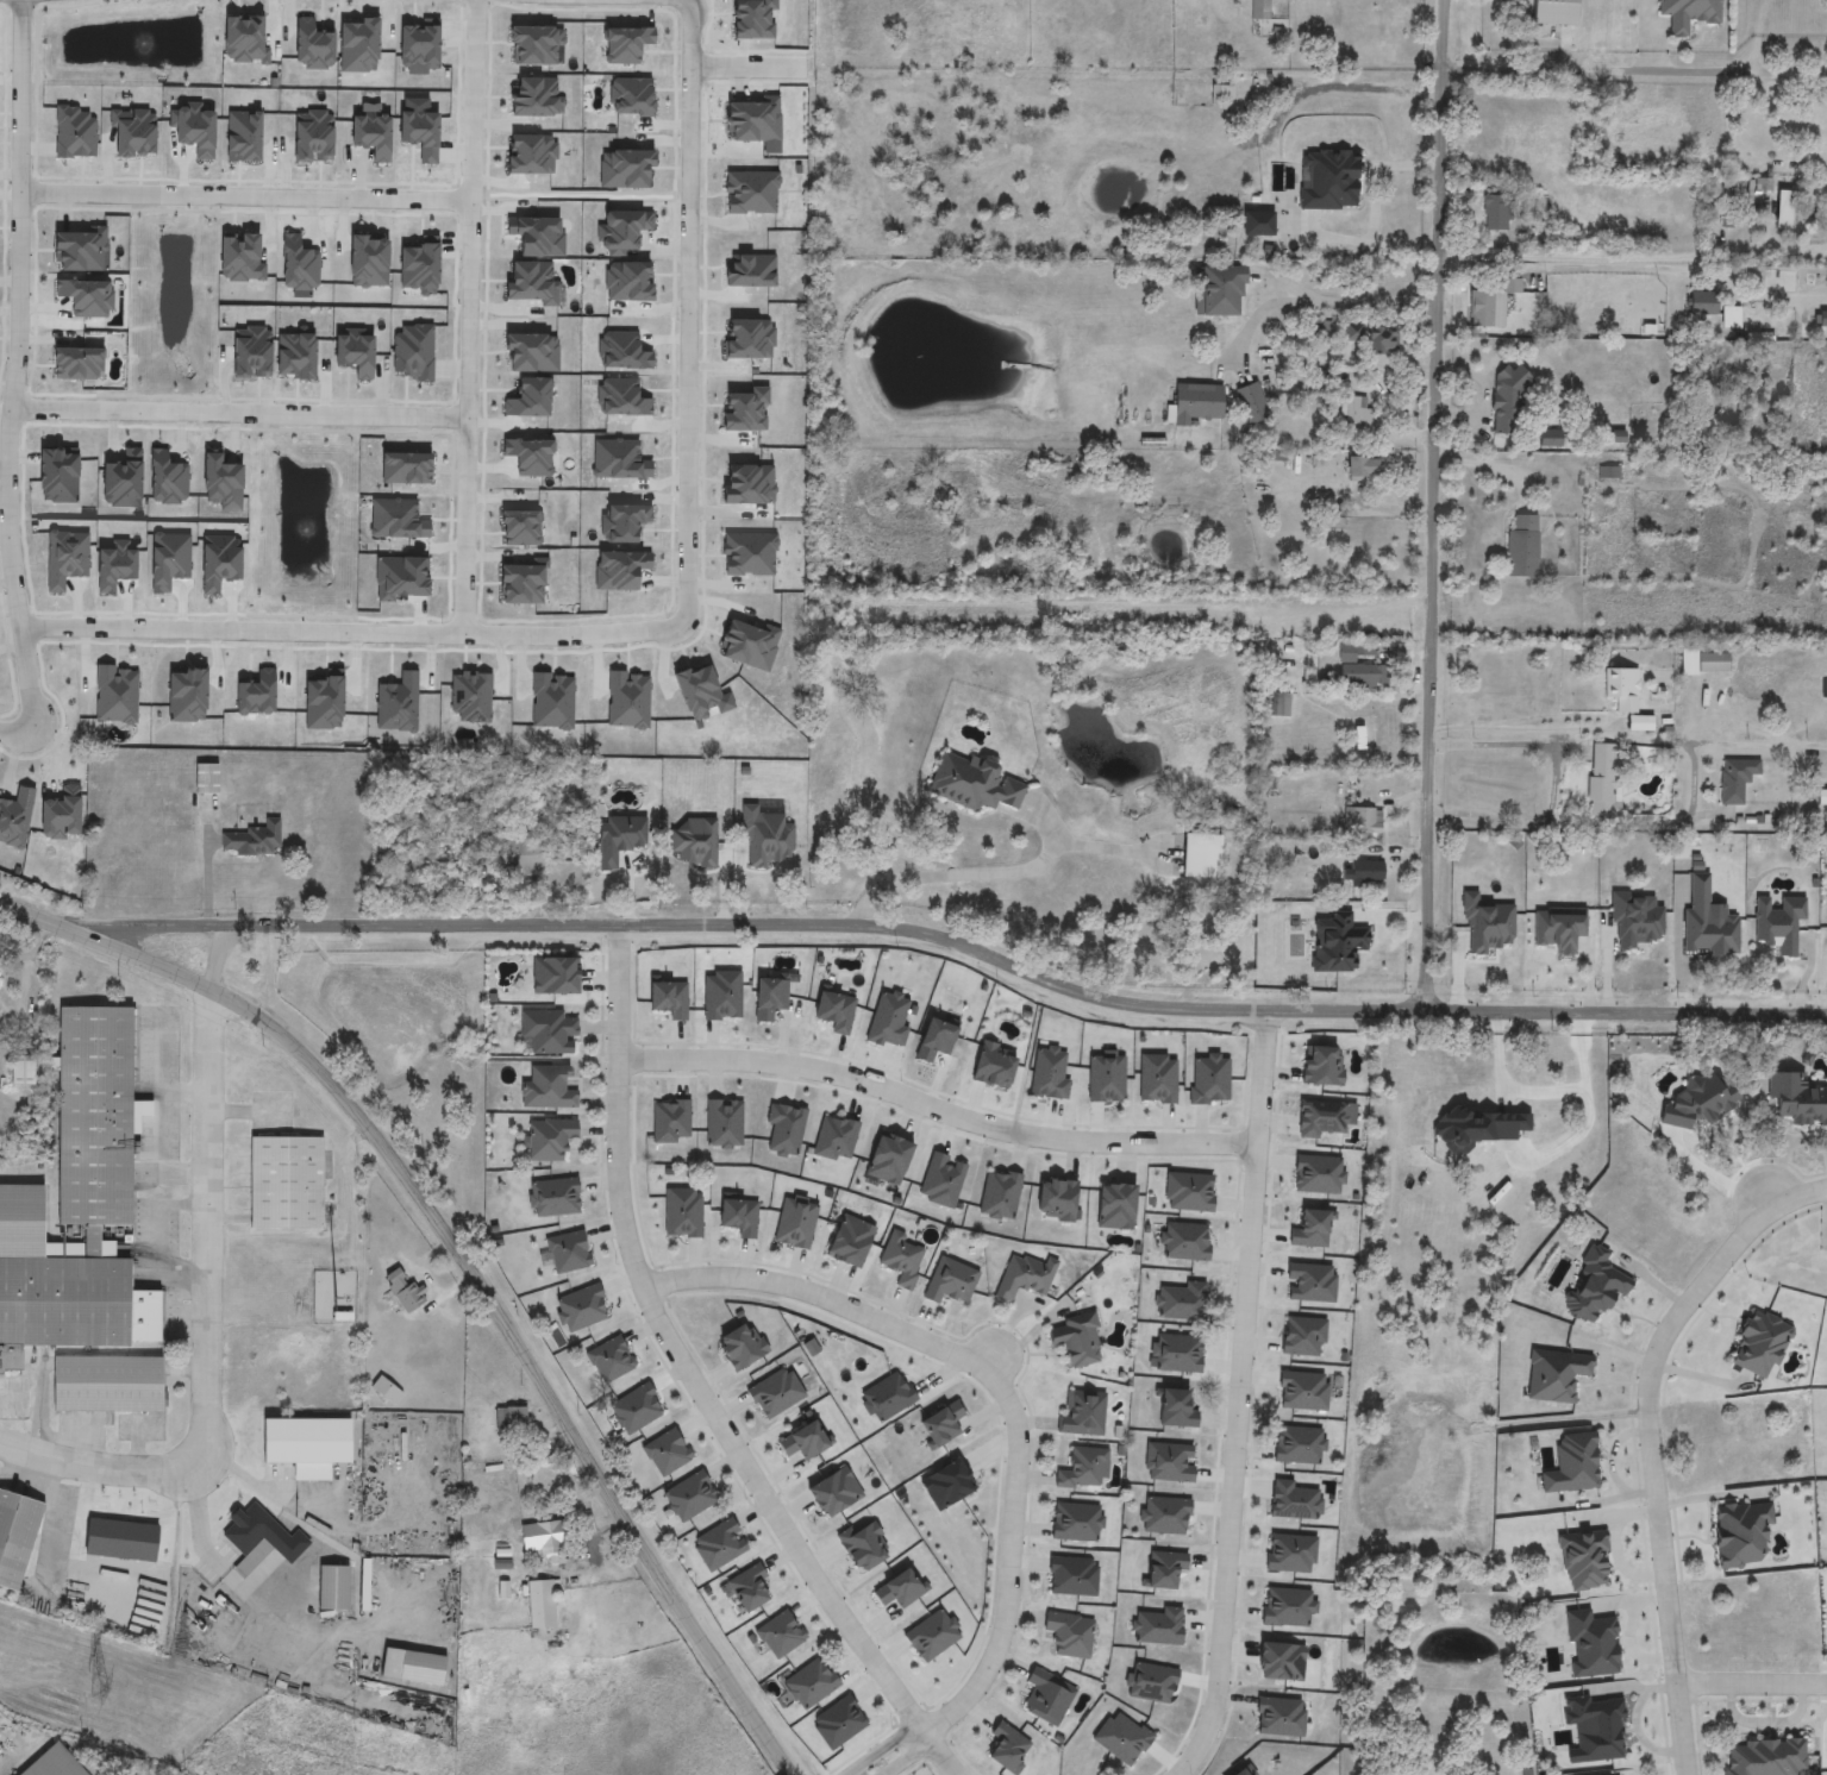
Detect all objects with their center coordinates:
building: (1260, 10)
building: (1554, 12)
building: (1689, 14)
road: (1757, 37)
road: (749, 65)
road: (1595, 69)
road: (1787, 73)
road: (1787, 112)
building: (1331, 180)
building: (1281, 187)
road: (245, 196)
road: (1372, 208)
building: (1352, 211)
building: (1497, 213)
building: (1726, 217)
road: (1634, 261)
building: (1220, 291)
road: (1319, 301)
building: (1702, 303)
road: (690, 308)
building: (1485, 309)
road: (19, 315)
road: (468, 318)
building: (1823, 320)
building: (1769, 326)
building: (1382, 339)
building: (1504, 399)
building: (1197, 403)
building: (1252, 404)
road: (238, 414)
building: (1357, 416)
building: (1363, 468)
road: (1435, 507)
building: (1522, 546)
road: (353, 634)
building: (1704, 663)
building: (1359, 673)
road: (30, 682)
building: (1622, 689)
building: (1279, 705)
road: (10, 730)
road: (1669, 742)
building: (205, 779)
building: (1737, 780)
building: (1603, 782)
building: (974, 784)
road: (1551, 786)
building: (1822, 798)
building: (1363, 823)
building: (251, 839)
building: (1200, 857)
building: (517, 858)
road: (204, 870)
road: (996, 871)
building: (1366, 872)
road: (952, 937)
building: (1235, 960)
building: (548, 1033)
building: (548, 1089)
road: (939, 1110)
road: (159, 1131)
building: (550, 1140)
building: (286, 1184)
building: (1478, 1185)
road: (1800, 1199)
building: (79, 1206)
building: (902, 1259)
road: (463, 1266)
building: (1024, 1278)
building: (951, 1281)
building: (1596, 1287)
building: (403, 1290)
road: (211, 1328)
building: (1075, 1341)
building: (1759, 1346)
road: (683, 1360)
building: (106, 1385)
road: (1001, 1391)
building: (386, 1392)
road: (1240, 1398)
road: (11, 1400)
building: (1082, 1415)
building: (511, 1423)
building: (306, 1447)
building: (1084, 1470)
road: (1659, 1472)
road: (252, 1481)
building: (515, 1485)
road: (199, 1524)
building: (252, 1535)
building: (1741, 1535)
building: (15, 1538)
building: (542, 1538)
building: (333, 1588)
building: (543, 1606)
building: (1068, 1636)
road: (1753, 1686)
power tower: (96, 1689)
building: (1047, 1696)
road: (909, 1739)
road: (937, 1752)
building: (1764, 1757)
building: (54, 1763)
road: (951, 1771)

